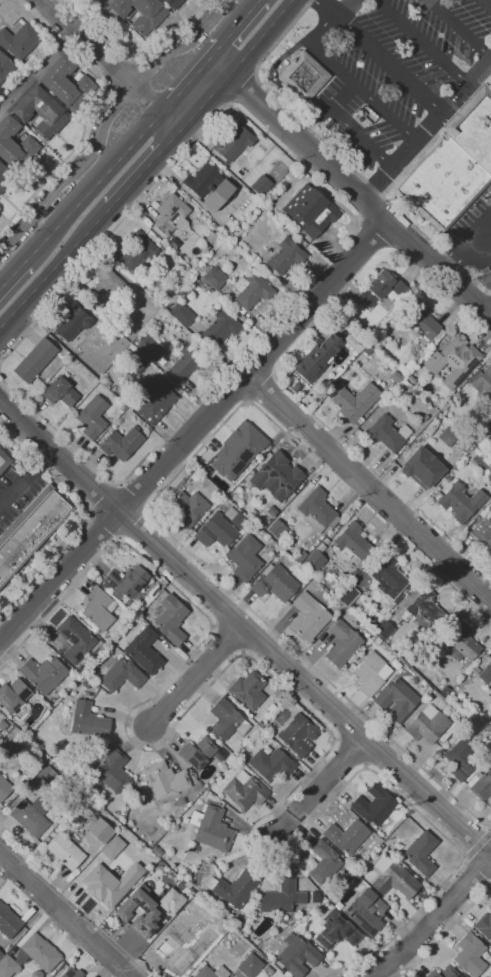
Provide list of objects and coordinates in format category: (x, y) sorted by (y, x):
road: (2, 1)
building: (172, 3)
road: (485, 4)
road: (327, 8)
building: (140, 13)
road: (240, 22)
road: (458, 28)
building: (19, 40)
road: (422, 41)
road: (216, 52)
road: (135, 54)
road: (51, 55)
flagpole: (287, 59)
road: (389, 64)
road: (110, 65)
road: (237, 65)
building: (5, 67)
road: (119, 71)
parking lot: (397, 72)
road: (343, 73)
road: (273, 79)
building: (302, 79)
building: (66, 83)
road: (186, 85)
road: (243, 91)
road: (340, 96)
road: (91, 109)
building: (40, 112)
road: (104, 119)
road: (428, 127)
road: (360, 139)
building: (233, 143)
building: (15, 146)
road: (337, 154)
building: (452, 164)
road: (146, 168)
building: (5, 177)
building: (260, 184)
building: (208, 186)
road: (95, 187)
road: (350, 187)
building: (310, 211)
building: (171, 214)
road: (110, 234)
building: (209, 237)
building: (203, 246)
road: (463, 248)
building: (138, 251)
building: (285, 256)
road: (55, 267)
road: (13, 277)
building: (214, 277)
building: (105, 286)
building: (383, 289)
building: (250, 291)
building: (182, 314)
building: (73, 322)
building: (423, 323)
building: (220, 328)
building: (354, 342)
building: (373, 343)
building: (148, 346)
building: (316, 358)
building: (34, 360)
building: (453, 360)
building: (136, 362)
building: (188, 362)
building: (406, 364)
road: (1, 376)
building: (106, 383)
building: (482, 384)
building: (397, 390)
building: (60, 392)
building: (154, 401)
building: (355, 403)
building: (92, 416)
building: (424, 418)
building: (484, 423)
road: (194, 431)
road: (167, 434)
building: (386, 434)
building: (448, 436)
building: (120, 444)
building: (268, 447)
building: (237, 450)
road: (83, 454)
road: (310, 457)
building: (4, 461)
building: (422, 467)
building: (276, 476)
building: (489, 477)
road: (26, 479)
parking lot: (19, 481)
road: (369, 487)
road: (134, 496)
road: (106, 499)
building: (460, 502)
building: (187, 508)
building: (271, 511)
building: (317, 511)
building: (483, 514)
road: (90, 518)
road: (133, 522)
road: (106, 525)
building: (276, 529)
building: (31, 530)
building: (215, 531)
building: (483, 532)
building: (326, 541)
building: (354, 546)
building: (300, 556)
building: (245, 557)
building: (315, 559)
building: (389, 577)
building: (126, 583)
building: (275, 583)
road: (232, 592)
building: (347, 595)
building: (98, 610)
building: (424, 610)
building: (308, 617)
building: (170, 619)
road: (244, 628)
building: (383, 629)
building: (75, 639)
building: (377, 641)
building: (341, 643)
building: (461, 643)
building: (144, 650)
building: (80, 669)
building: (476, 670)
building: (370, 673)
building: (485, 673)
building: (42, 674)
building: (121, 675)
road: (195, 675)
building: (248, 690)
building: (445, 690)
building: (12, 696)
road: (295, 698)
building: (396, 700)
building: (224, 719)
building: (88, 721)
building: (2, 725)
building: (427, 725)
building: (298, 735)
building: (219, 752)
building: (197, 753)
building: (460, 757)
building: (270, 764)
building: (112, 771)
building: (46, 776)
building: (165, 780)
building: (480, 784)
building: (4, 789)
road: (318, 789)
building: (244, 791)
building: (374, 805)
building: (39, 806)
building: (69, 806)
building: (28, 819)
building: (211, 829)
building: (84, 830)
road: (490, 830)
building: (346, 836)
road: (478, 844)
building: (112, 847)
building: (65, 851)
building: (156, 851)
building: (421, 853)
building: (323, 862)
road: (477, 866)
building: (184, 874)
building: (395, 881)
building: (110, 884)
building: (234, 888)
building: (315, 897)
building: (281, 898)
building: (171, 899)
building: (120, 911)
building: (365, 912)
building: (191, 914)
road: (66, 915)
building: (8, 922)
road: (430, 923)
building: (484, 925)
building: (336, 930)
road: (445, 932)
building: (41, 952)
building: (174, 953)
building: (470, 954)
building: (1, 955)
building: (297, 956)
building: (20, 957)
building: (249, 966)
building: (7, 967)
road: (324, 969)
building: (268, 970)
building: (211, 972)
building: (444, 972)
building: (71, 973)
building: (36, 974)
building: (286, 976)

